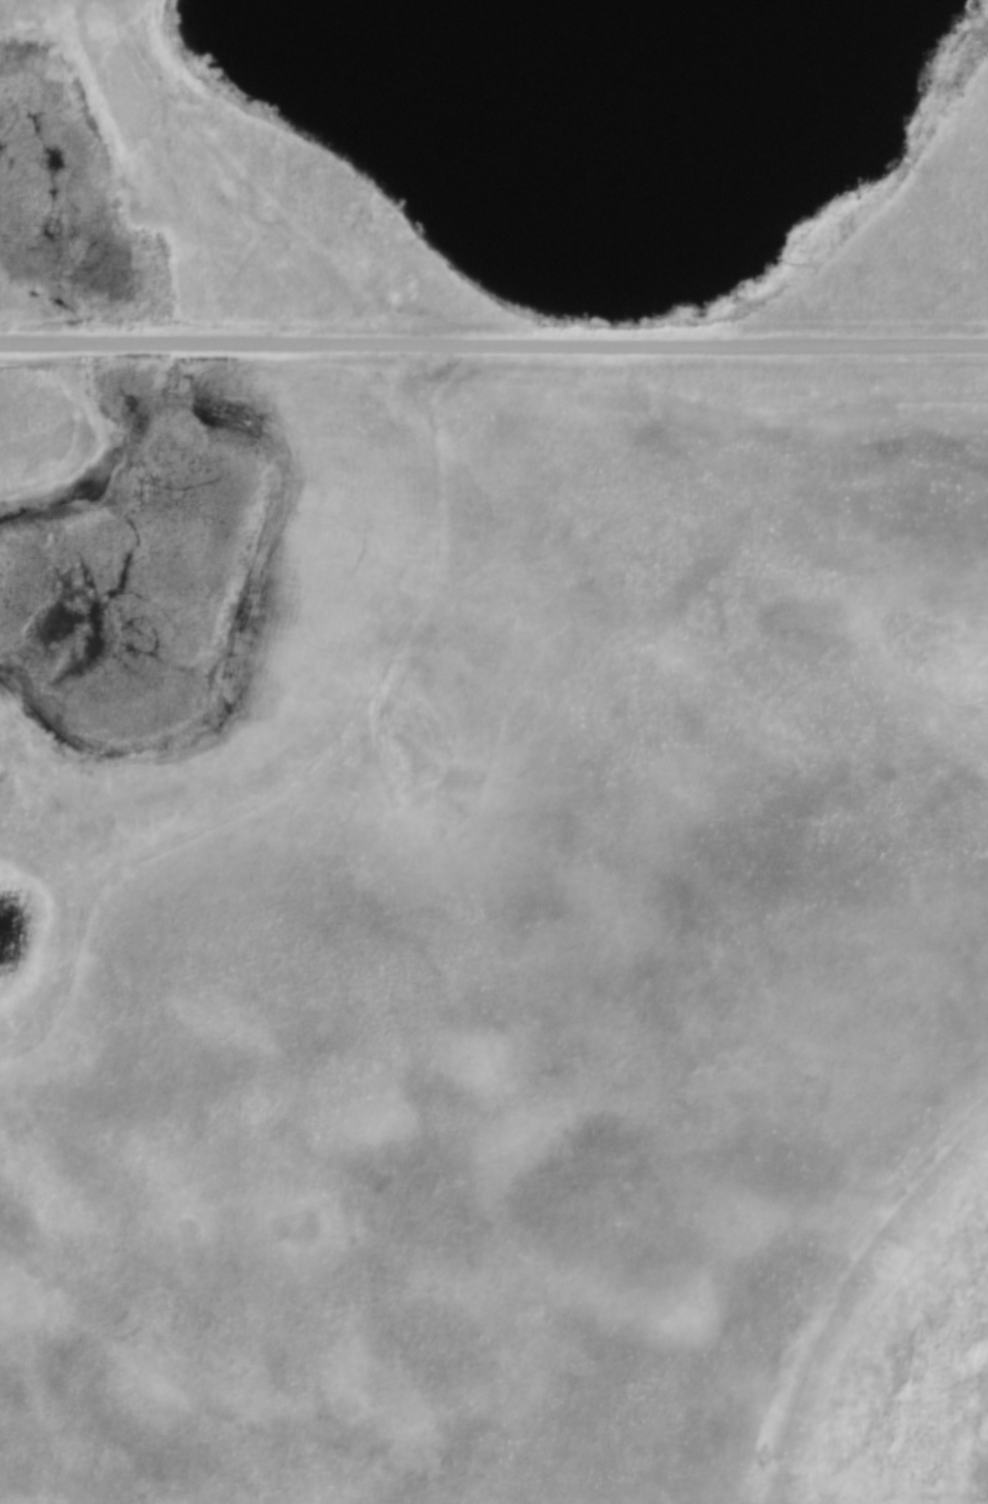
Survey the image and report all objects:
road: (494, 341)

